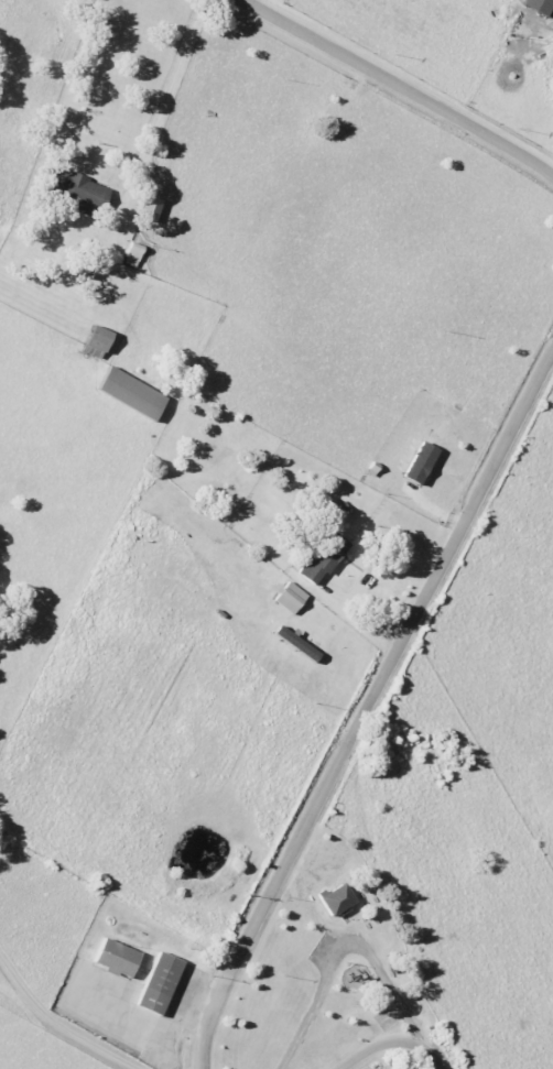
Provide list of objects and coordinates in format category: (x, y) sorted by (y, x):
building: (539, 6)
road: (397, 85)
road: (162, 102)
building: (77, 193)
building: (149, 209)
building: (95, 341)
building: (130, 393)
building: (419, 462)
building: (340, 511)
building: (322, 556)
building: (289, 597)
building: (295, 643)
road: (367, 707)
building: (334, 899)
road: (349, 950)
building: (113, 958)
building: (155, 983)
road: (58, 1027)
road: (128, 1036)
road: (422, 1050)
road: (368, 1054)

